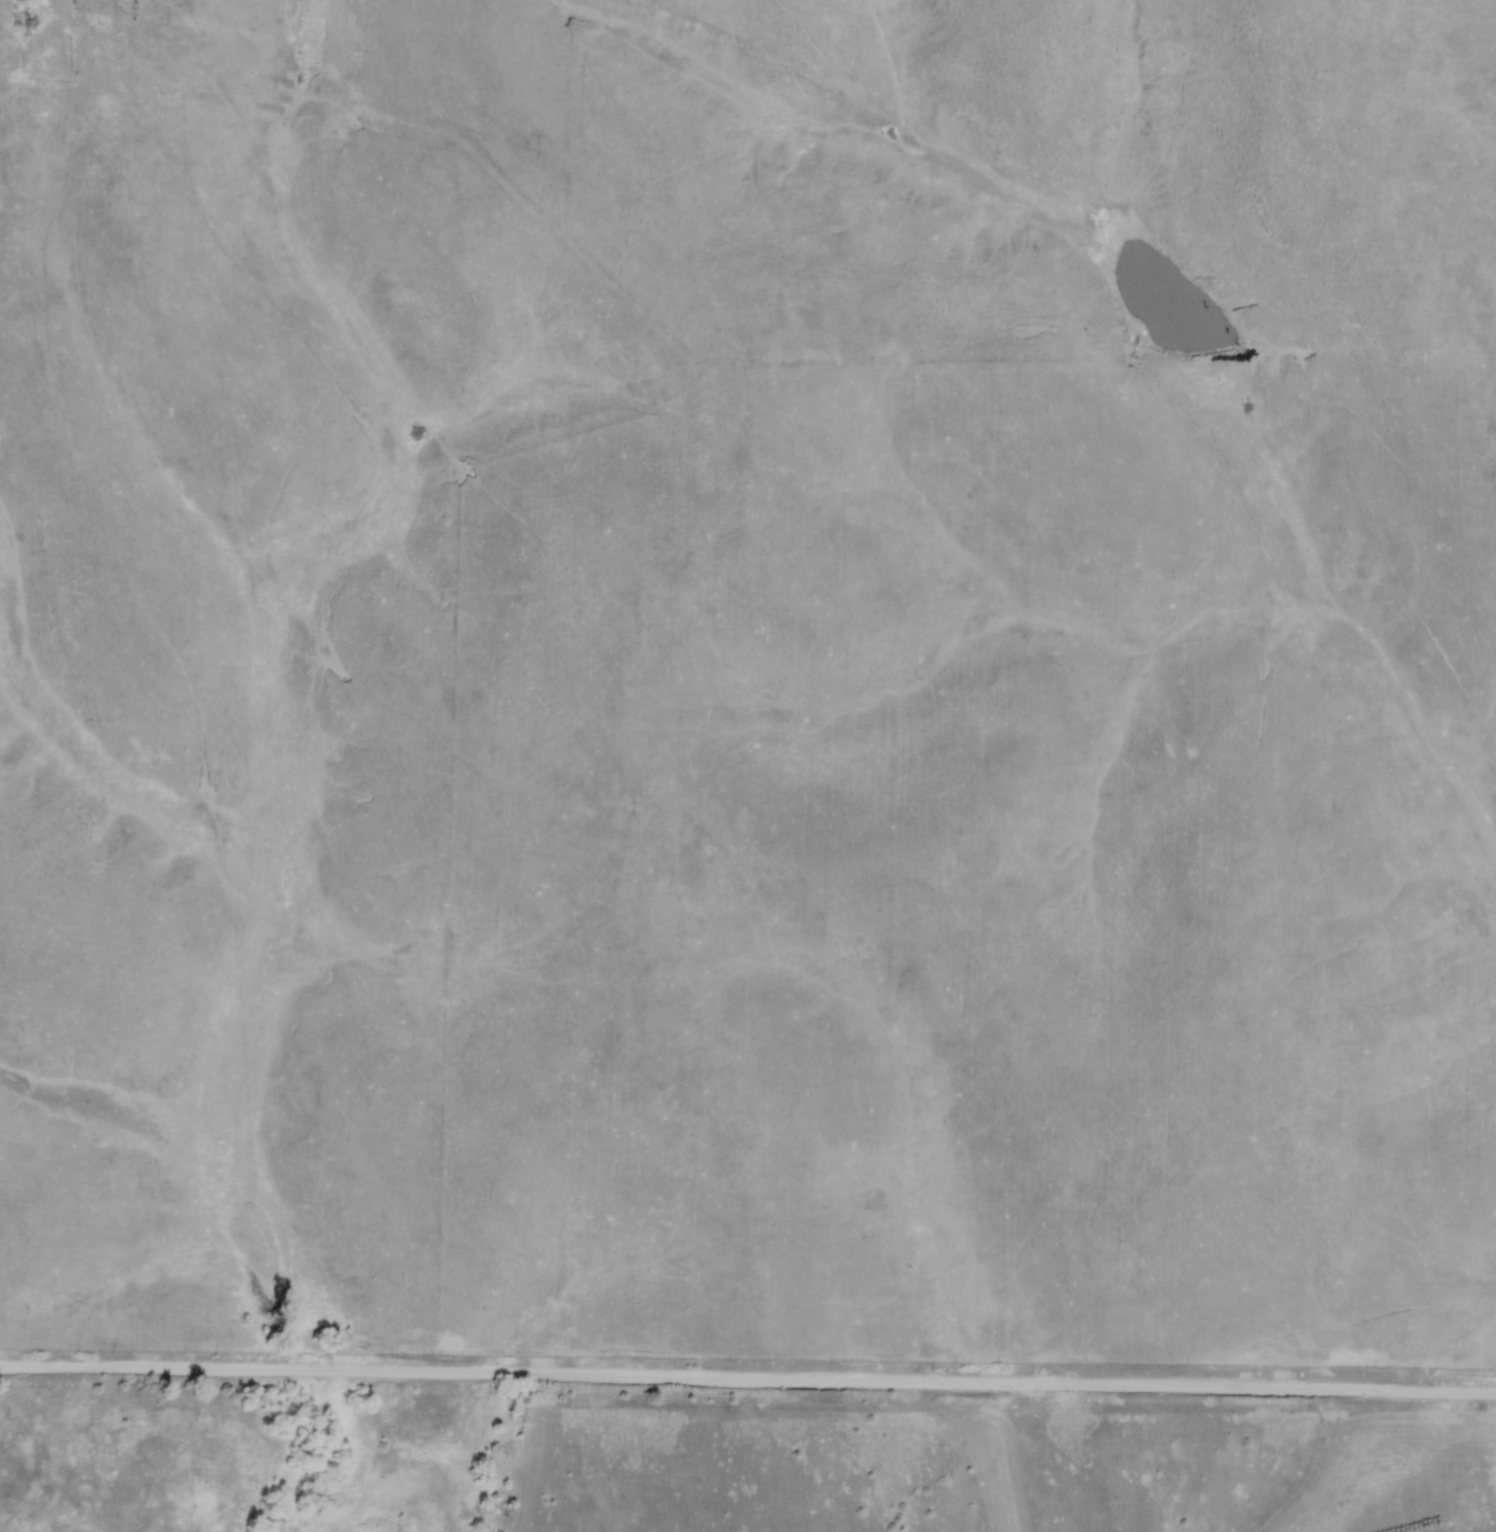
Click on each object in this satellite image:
road: (747, 1379)

